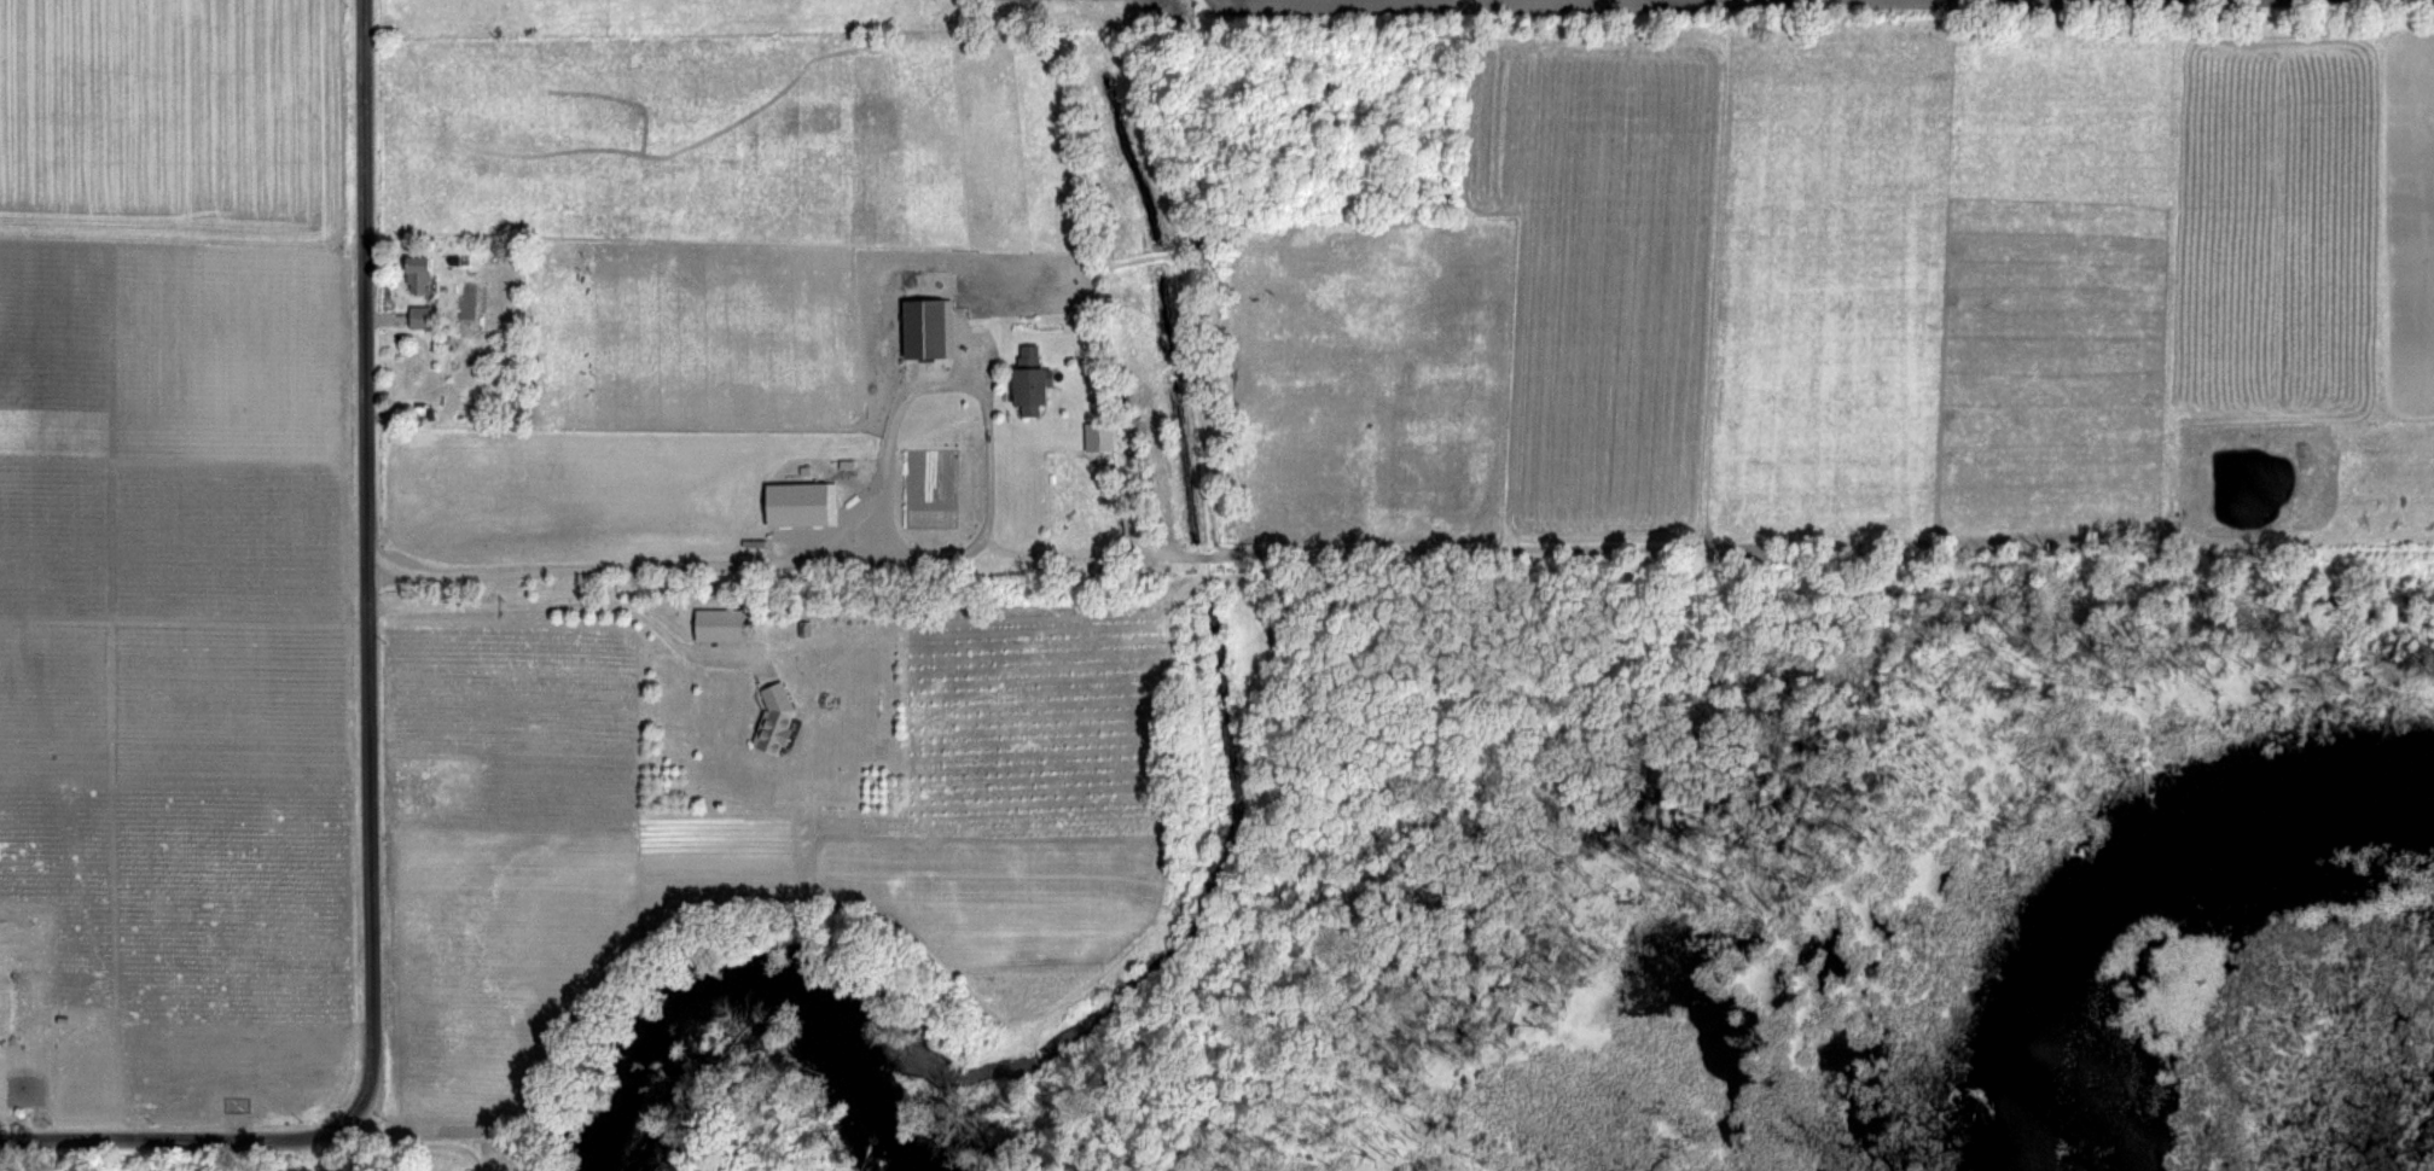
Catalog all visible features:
building: (417, 274)
building: (923, 328)
building: (1029, 380)
building: (893, 381)
road: (365, 570)
building: (719, 625)
building: (773, 721)
river: (2121, 869)
river: (754, 978)
road: (172, 1143)
road: (407, 1153)
road: (374, 1163)

